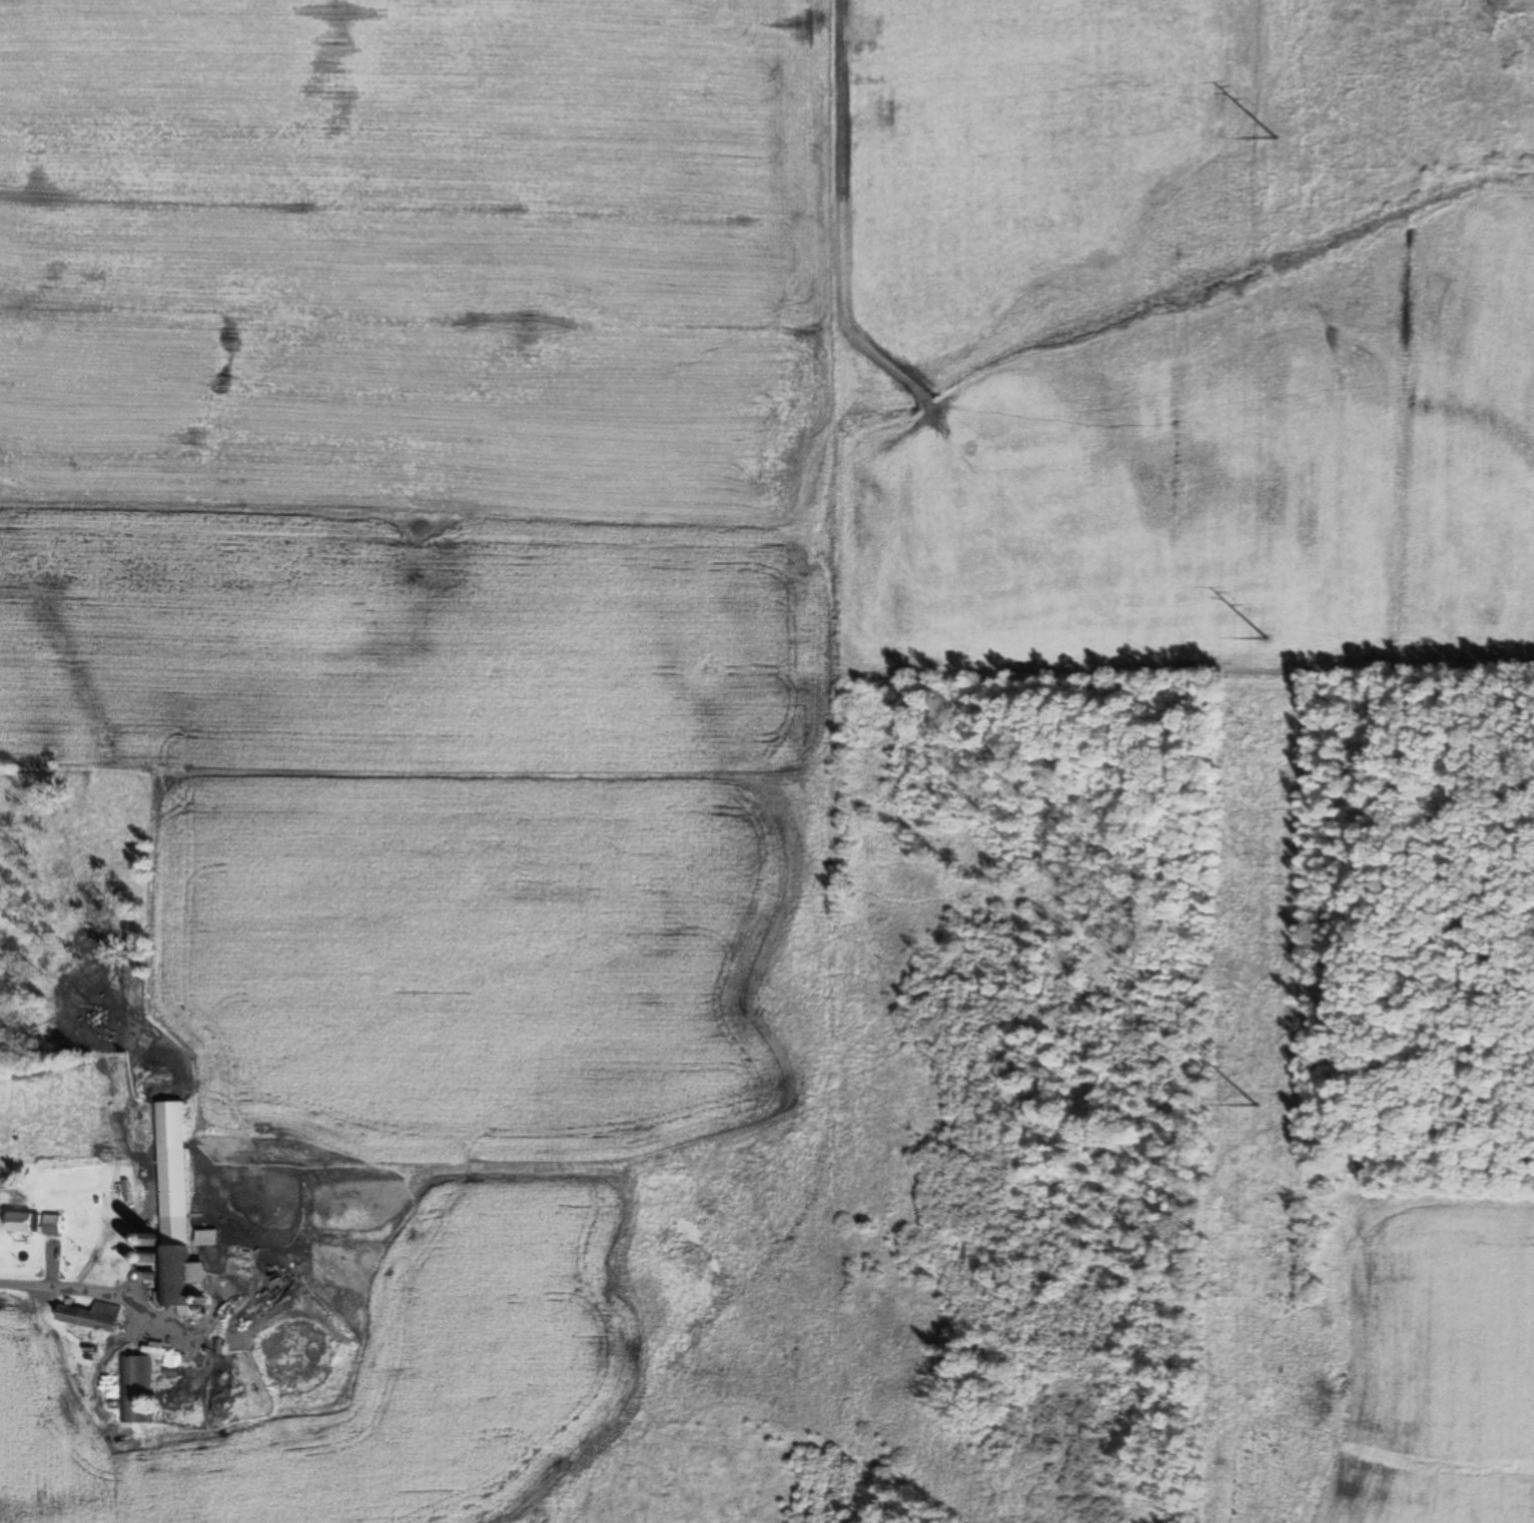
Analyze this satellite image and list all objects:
power tower: (1276, 141)
power tower: (1263, 641)
power tower: (1254, 1107)
building: (174, 1209)
building: (34, 1226)
building: (211, 1242)
building: (90, 1319)
building: (135, 1391)

